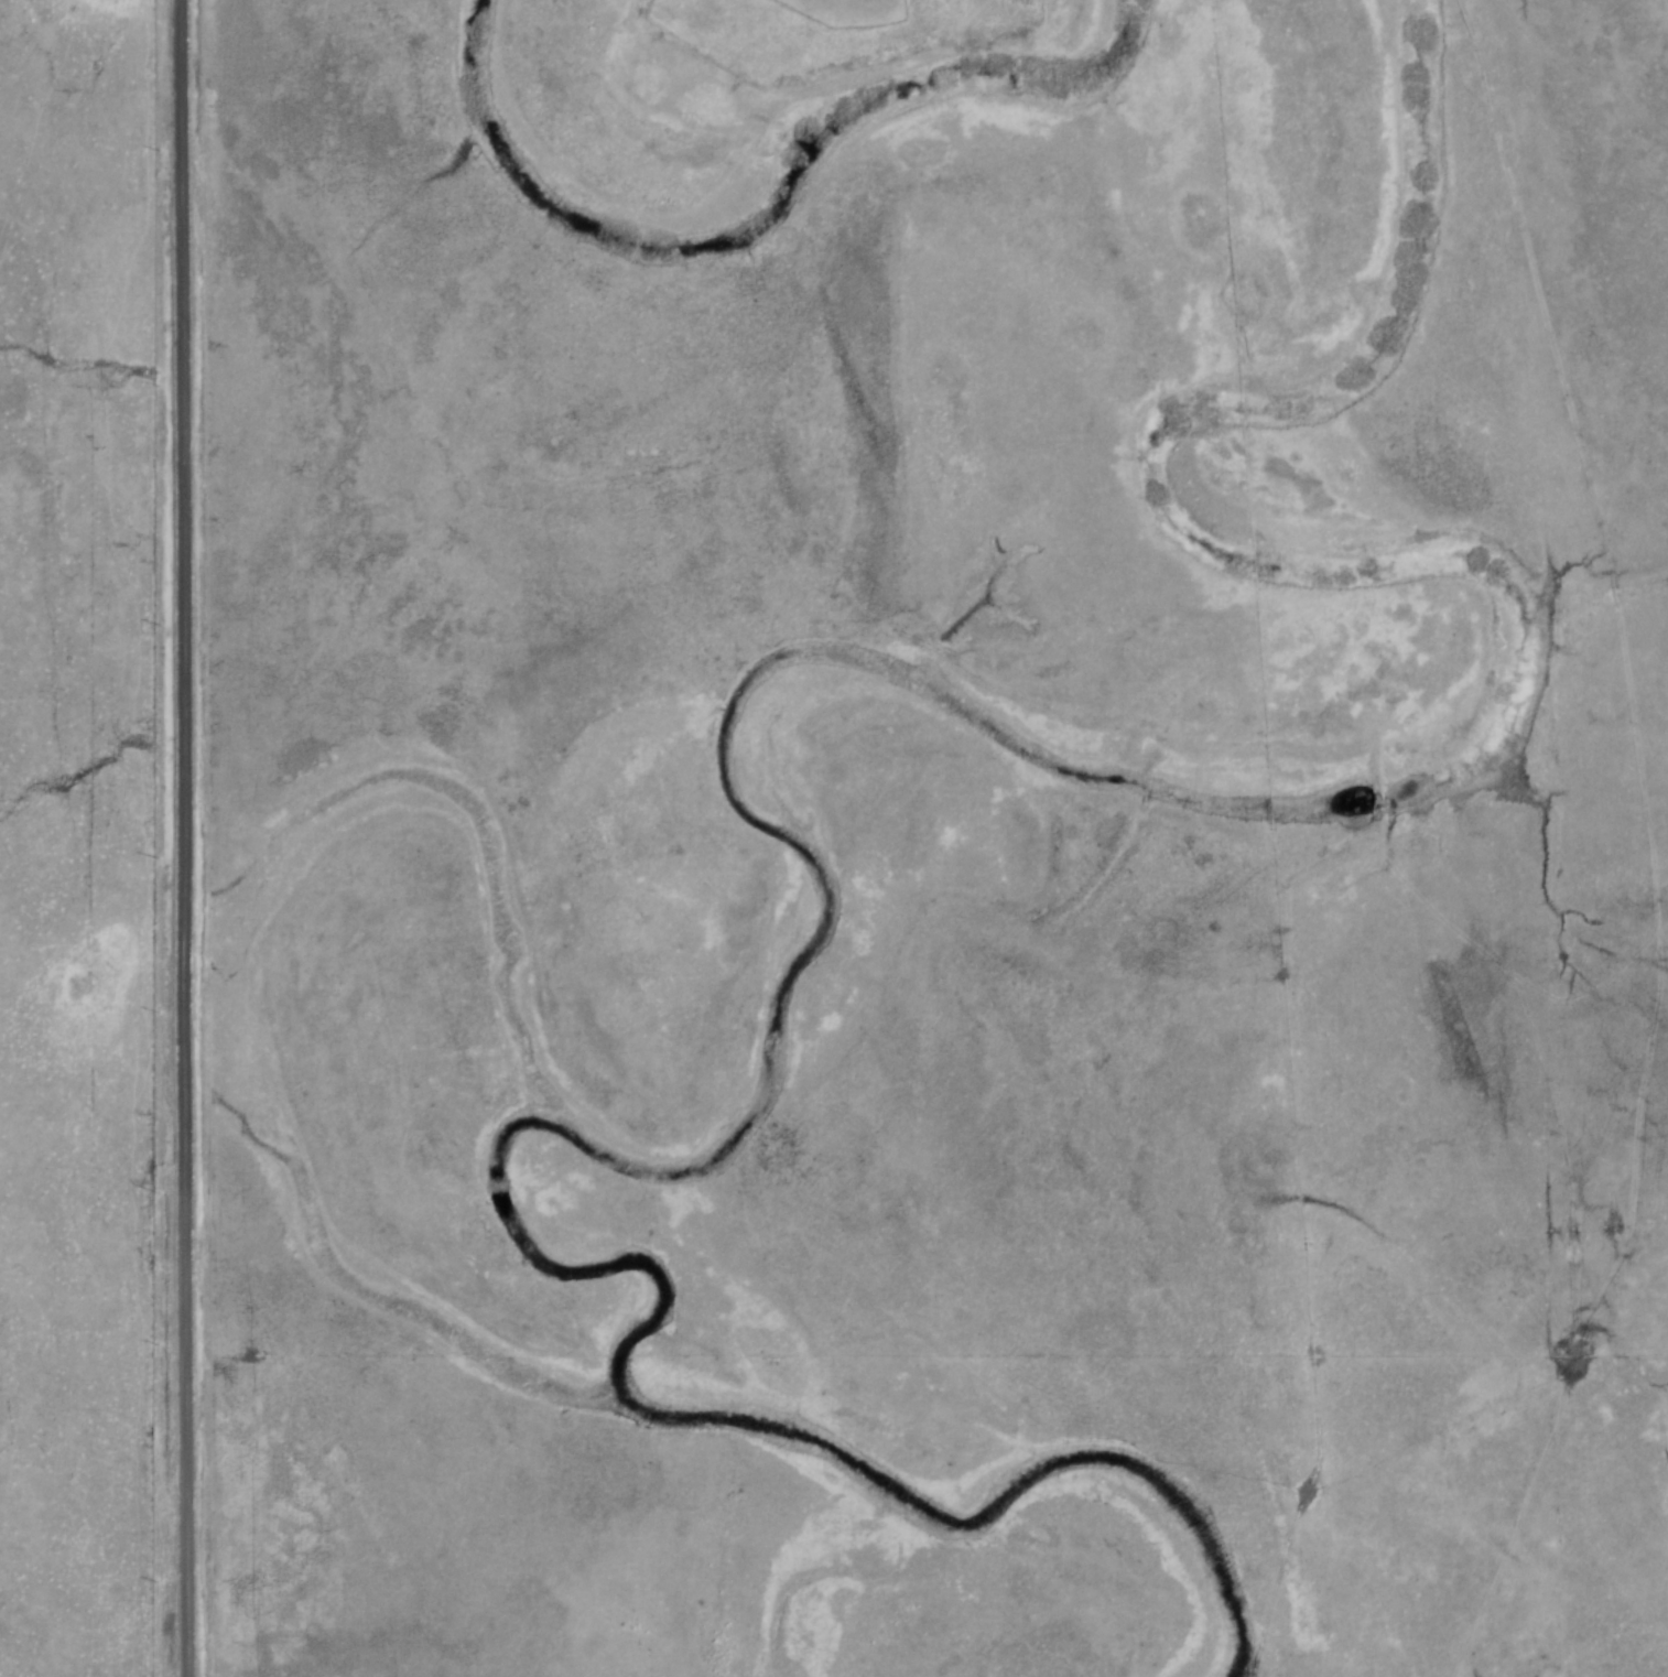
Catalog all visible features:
road: (1551, 322)
road: (1644, 759)
road: (192, 837)
road: (1642, 1254)

